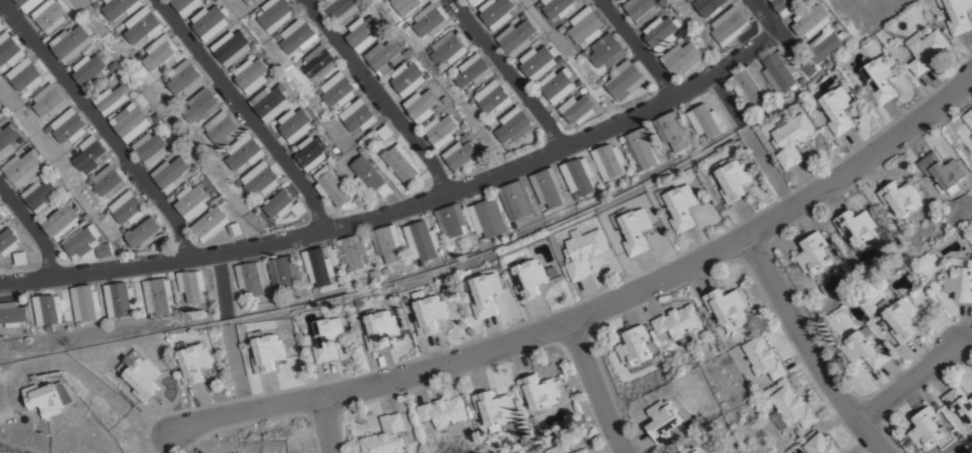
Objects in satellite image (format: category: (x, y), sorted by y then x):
building: (318, 0)
building: (614, 1)
building: (689, 1)
building: (250, 2)
building: (28, 3)
building: (470, 3)
building: (663, 3)
building: (786, 5)
building: (405, 6)
building: (119, 7)
building: (185, 7)
building: (708, 7)
building: (558, 8)
building: (340, 10)
building: (641, 11)
building: (53, 13)
building: (252, 13)
building: (275, 15)
building: (497, 15)
building: (957, 15)
road: (764, 17)
building: (833, 17)
building: (524, 18)
building: (811, 20)
building: (1, 23)
building: (429, 23)
building: (140, 24)
building: (211, 24)
building: (730, 27)
building: (586, 28)
building: (706, 30)
building: (562, 31)
building: (363, 35)
building: (662, 35)
building: (689, 38)
building: (274, 39)
building: (297, 39)
building: (517, 40)
building: (73, 41)
building: (254, 46)
building: (9, 47)
road: (633, 48)
building: (822, 49)
building: (926, 49)
building: (231, 50)
building: (446, 51)
building: (159, 52)
building: (608, 53)
building: (583, 54)
building: (138, 55)
building: (386, 58)
building: (682, 60)
building: (562, 61)
building: (116, 63)
building: (297, 64)
building: (318, 64)
building: (539, 64)
building: (93, 67)
building: (779, 71)
building: (25, 73)
building: (470, 74)
road: (505, 74)
building: (164, 77)
building: (184, 77)
building: (251, 77)
building: (880, 78)
building: (270, 79)
building: (802, 80)
building: (408, 81)
building: (600, 81)
building: (625, 83)
building: (581, 86)
building: (749, 86)
building: (559, 88)
building: (134, 91)
building: (336, 92)
building: (584, 92)
road: (375, 95)
building: (113, 97)
building: (49, 99)
building: (493, 100)
building: (446, 102)
building: (27, 103)
building: (201, 104)
building: (270, 105)
building: (837, 107)
building: (422, 108)
building: (1, 109)
building: (579, 112)
road: (244, 113)
building: (158, 115)
building: (968, 117)
building: (357, 118)
building: (705, 119)
building: (131, 120)
building: (68, 124)
building: (296, 126)
road: (99, 127)
building: (222, 128)
building: (465, 128)
building: (513, 128)
building: (671, 128)
building: (202, 129)
building: (384, 132)
building: (442, 133)
building: (10, 137)
building: (791, 137)
building: (971, 137)
building: (375, 139)
building: (465, 140)
building: (702, 140)
building: (177, 142)
building: (152, 146)
building: (640, 146)
building: (244, 150)
building: (337, 150)
building: (224, 151)
building: (90, 153)
building: (669, 154)
building: (311, 155)
building: (608, 158)
building: (463, 159)
building: (400, 163)
building: (24, 166)
building: (196, 166)
building: (942, 170)
building: (173, 172)
building: (579, 174)
building: (623, 176)
building: (260, 178)
building: (371, 178)
building: (734, 178)
building: (89, 180)
building: (108, 180)
building: (236, 183)
building: (606, 183)
building: (546, 186)
building: (333, 187)
building: (44, 193)
building: (574, 195)
building: (899, 196)
building: (517, 198)
building: (194, 200)
building: (223, 200)
building: (279, 203)
building: (679, 205)
building: (127, 206)
road: (404, 206)
building: (299, 208)
building: (254, 210)
building: (3, 212)
building: (544, 212)
building: (89, 216)
building: (488, 217)
building: (451, 218)
building: (63, 220)
building: (212, 222)
building: (856, 224)
building: (514, 226)
building: (236, 228)
building: (633, 228)
road: (31, 231)
building: (143, 231)
building: (163, 239)
building: (422, 239)
building: (8, 240)
building: (88, 242)
building: (387, 242)
building: (449, 249)
building: (353, 250)
building: (584, 250)
building: (813, 253)
building: (21, 257)
building: (318, 266)
building: (385, 270)
building: (285, 272)
building: (374, 275)
building: (250, 277)
building: (530, 277)
building: (960, 278)
building: (191, 283)
building: (487, 294)
building: (158, 295)
building: (275, 297)
building: (119, 298)
building: (86, 302)
building: (727, 306)
building: (47, 308)
building: (430, 311)
building: (12, 313)
building: (903, 318)
building: (679, 322)
building: (77, 324)
building: (381, 327)
building: (328, 337)
building: (840, 337)
road: (499, 344)
building: (865, 347)
road: (807, 348)
building: (635, 349)
building: (268, 351)
building: (763, 357)
building: (195, 362)
building: (141, 374)
road: (906, 381)
road: (592, 386)
building: (537, 391)
building: (48, 397)
building: (960, 404)
building: (492, 408)
building: (790, 409)
building: (443, 411)
building: (530, 419)
building: (663, 419)
road: (325, 423)
building: (930, 430)
building: (386, 436)
building: (819, 444)
building: (538, 448)
building: (557, 449)
building: (531, 450)
building: (582, 450)
building: (694, 450)
building: (236, 452)

